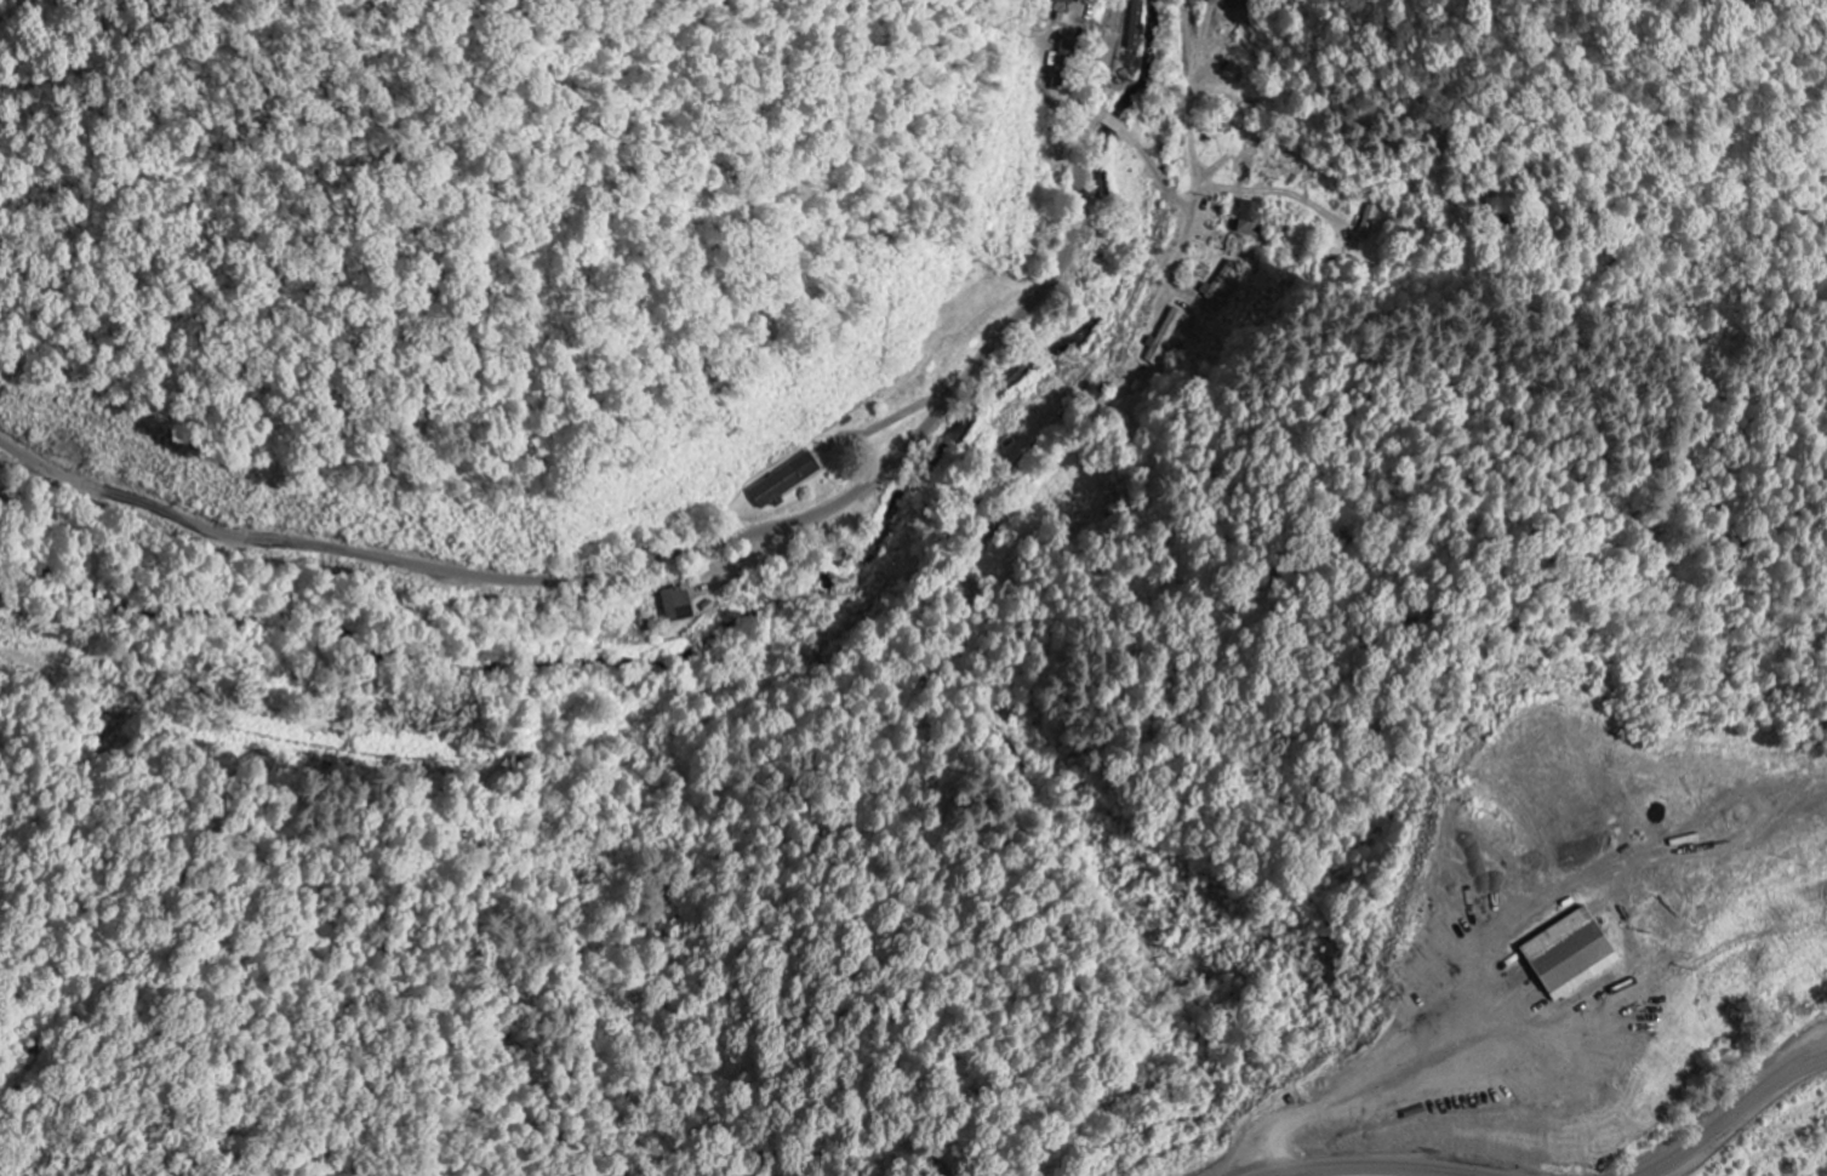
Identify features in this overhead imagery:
building: (1061, 1)
building: (1232, 2)
building: (1136, 18)
road: (1188, 129)
building: (1245, 164)
road: (1154, 170)
road: (1226, 178)
building: (1250, 221)
building: (782, 481)
road: (708, 543)
building: (675, 605)
building: (1568, 955)

